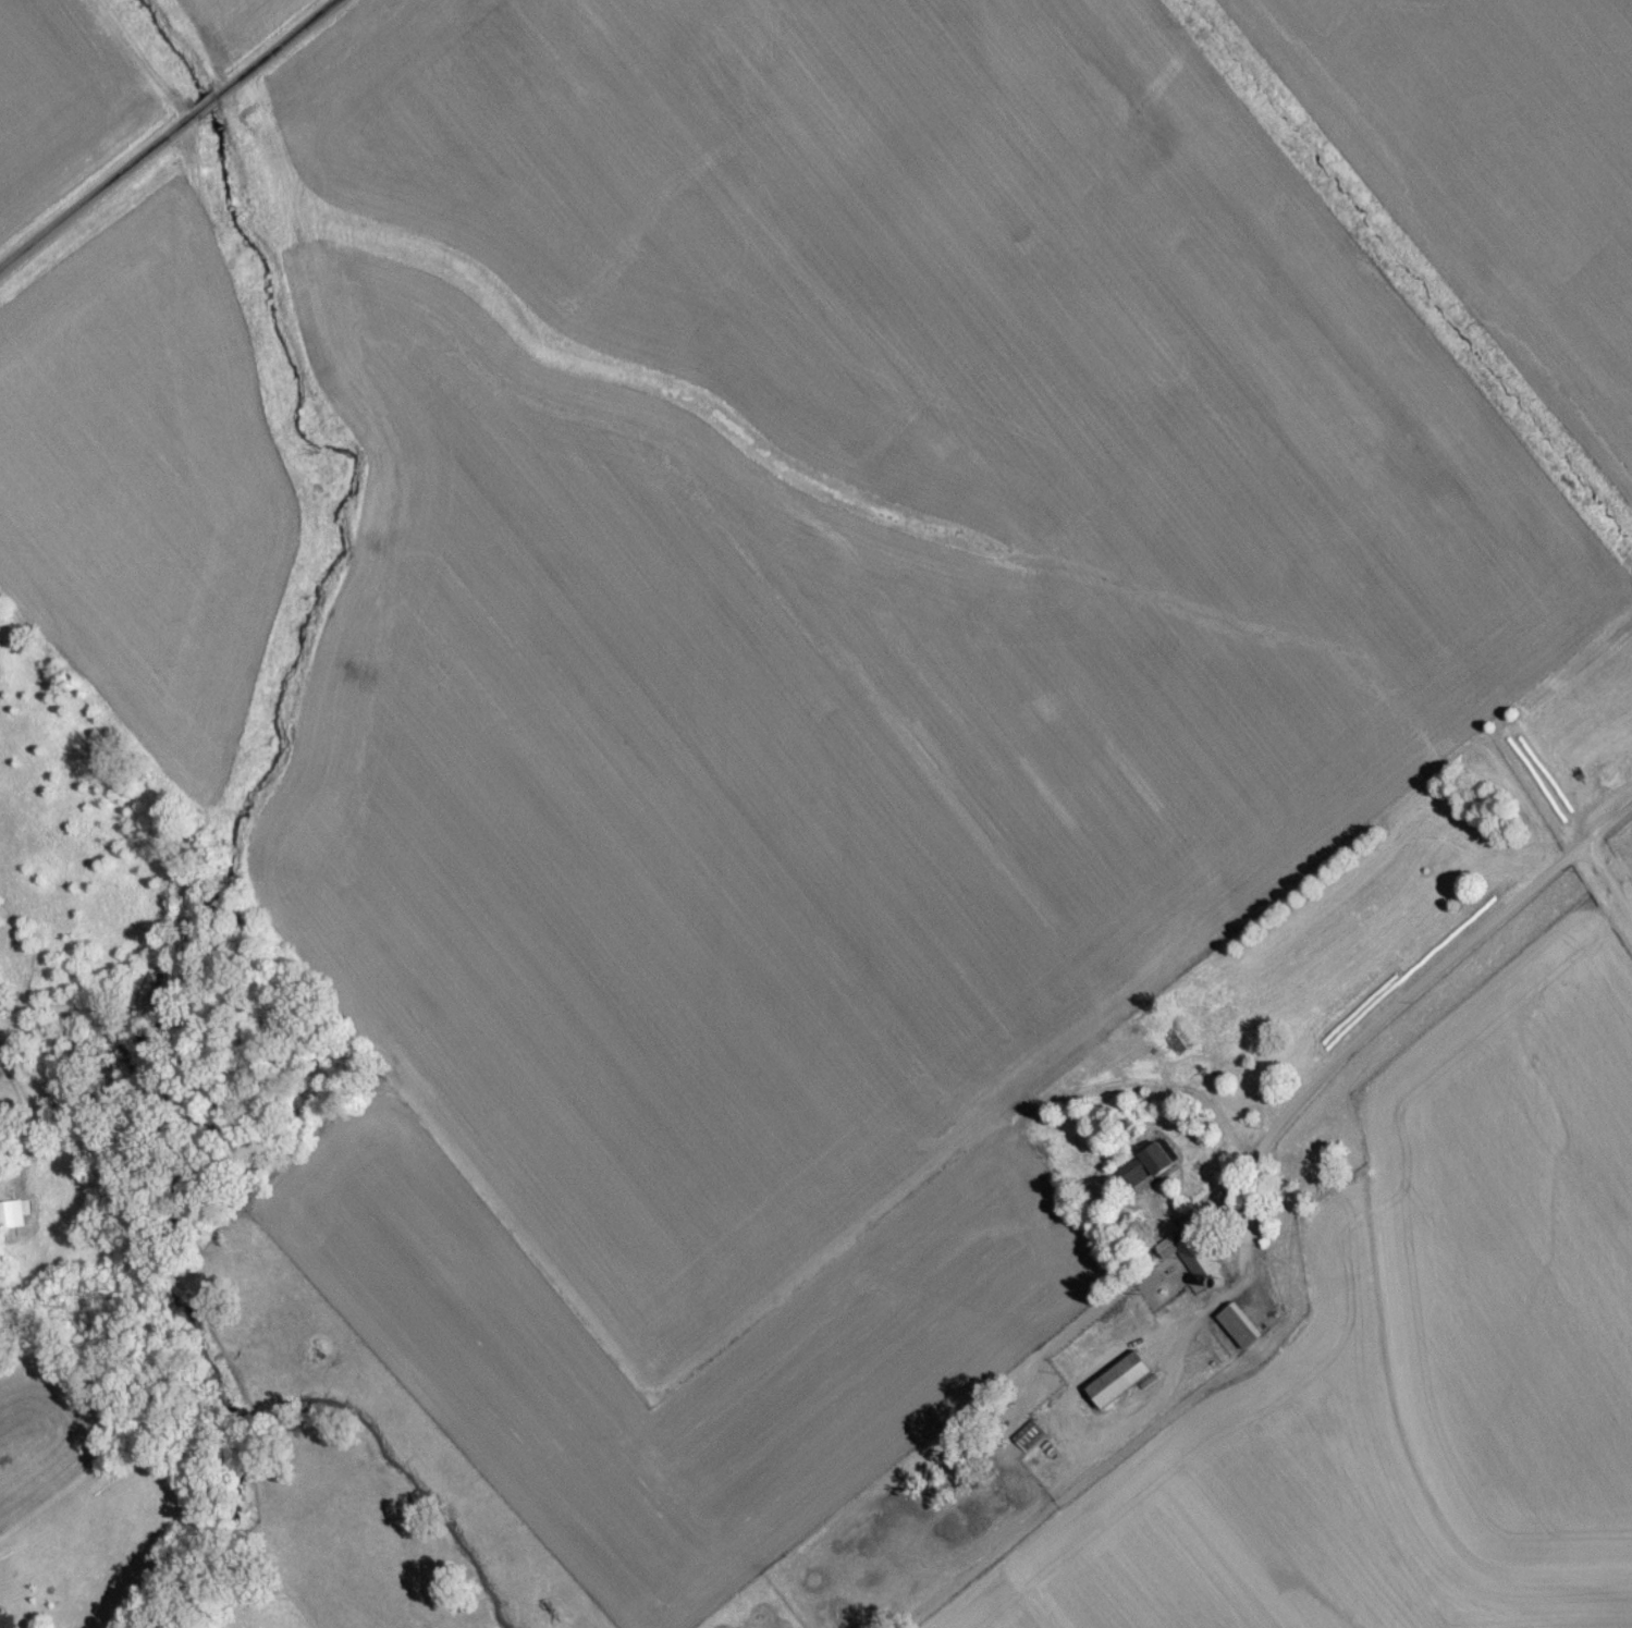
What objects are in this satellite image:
road: (169, 137)
road: (1609, 883)
road: (1416, 997)
building: (1145, 1173)
building: (13, 1221)
road: (1246, 1259)
building: (1191, 1262)
building: (1240, 1332)
building: (1119, 1385)
building: (1029, 1441)
building: (7, 1624)

